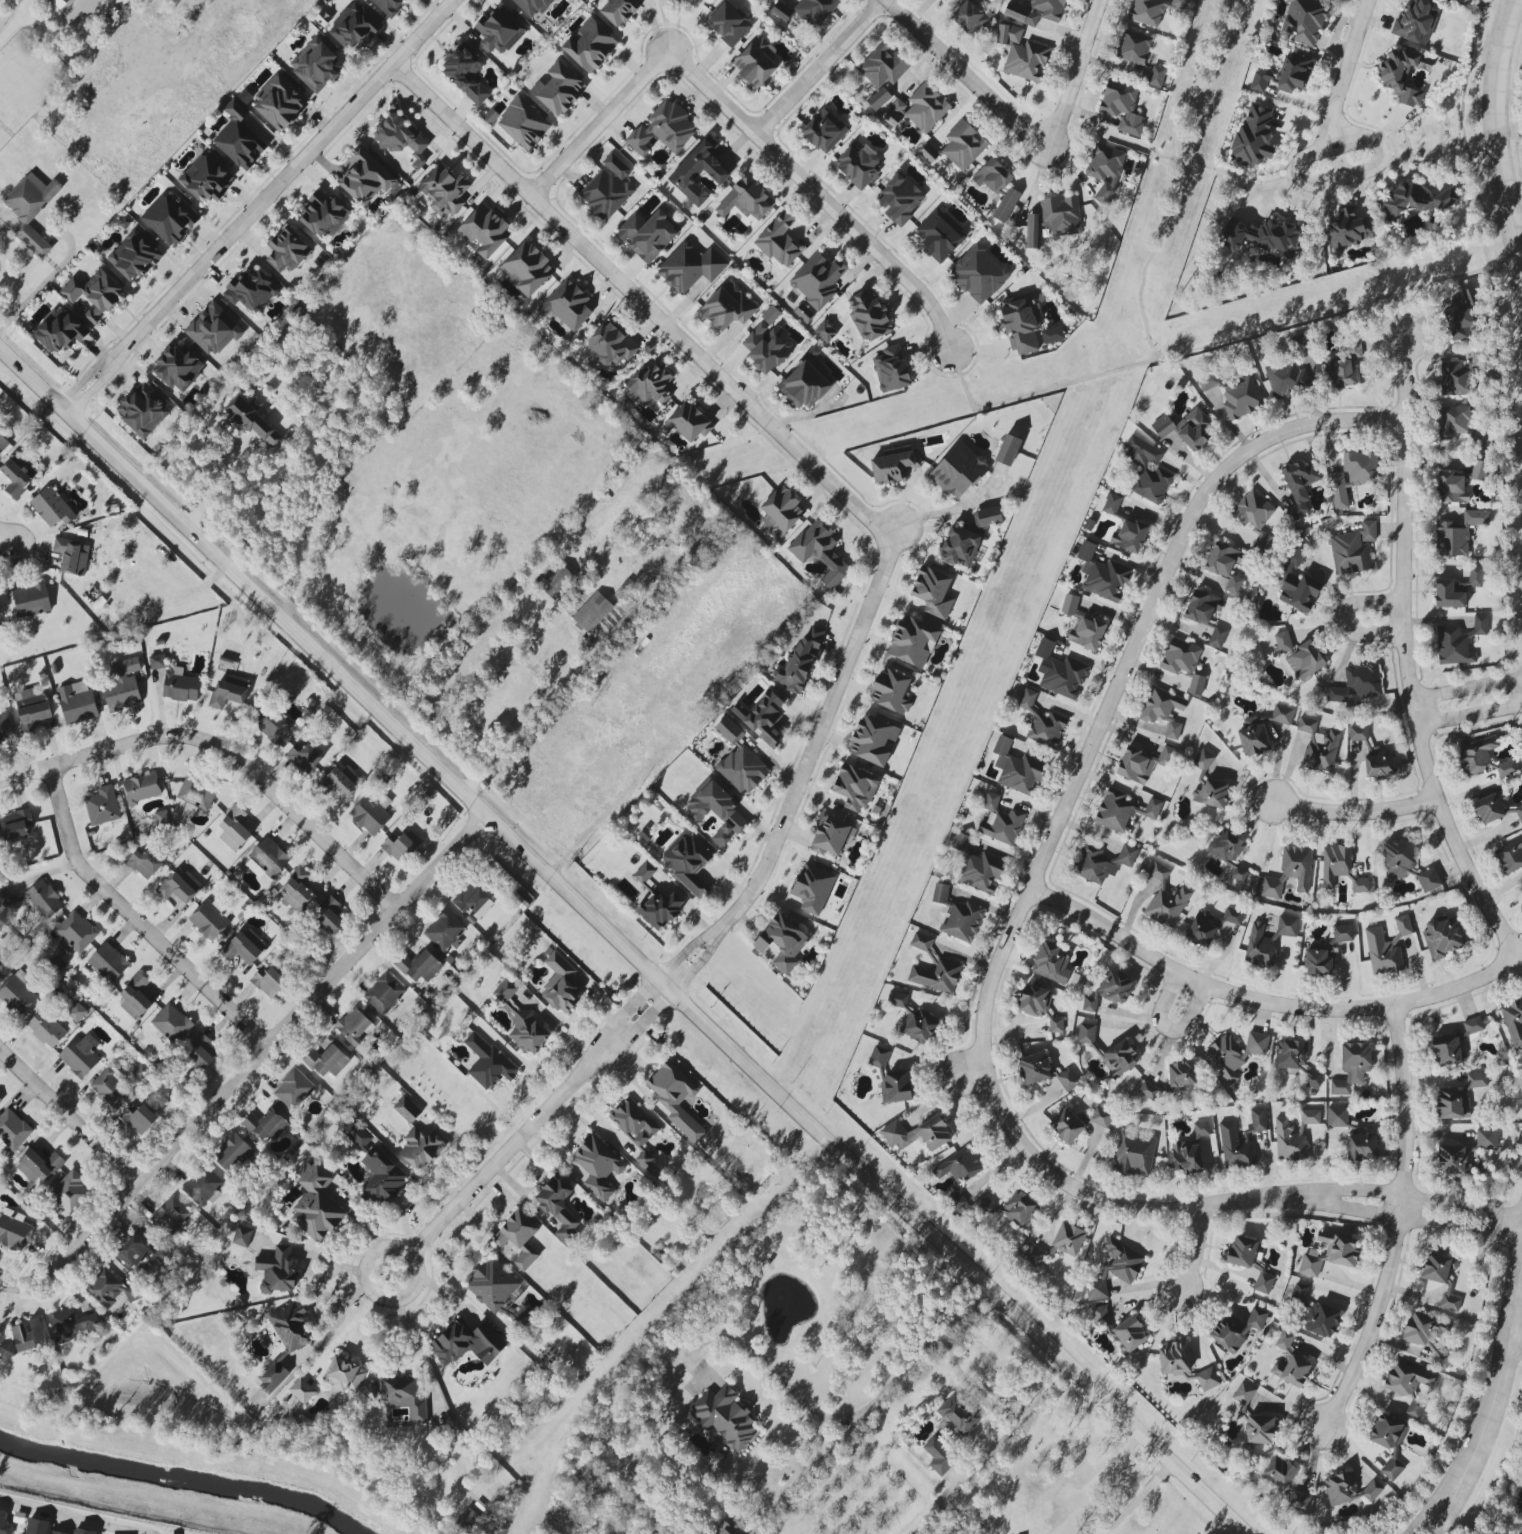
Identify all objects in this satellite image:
building: (692, 0)
building: (17, 1)
building: (59, 5)
building: (389, 6)
building: (532, 6)
building: (815, 10)
building: (618, 11)
building: (780, 11)
building: (1150, 11)
building: (1040, 12)
building: (969, 18)
building: (1416, 21)
building: (1303, 22)
building: (728, 24)
building: (353, 26)
road: (8, 29)
building: (499, 31)
building: (589, 45)
building: (1133, 47)
building: (1021, 54)
building: (755, 62)
building: (316, 65)
building: (882, 66)
road: (819, 69)
building: (465, 71)
road: (967, 72)
road: (1343, 72)
road: (1075, 73)
building: (1283, 74)
building: (1402, 74)
building: (1156, 76)
building: (558, 88)
building: (878, 99)
building: (279, 102)
building: (1121, 106)
building: (918, 109)
road: (1517, 109)
building: (522, 123)
road: (599, 125)
building: (662, 129)
building: (823, 131)
road: (1495, 133)
road: (1460, 134)
building: (1253, 136)
building: (399, 138)
building: (238, 139)
building: (957, 147)
road: (1175, 161)
building: (858, 165)
building: (1104, 170)
building: (698, 172)
road: (1348, 175)
building: (992, 176)
building: (365, 177)
road: (1174, 177)
building: (206, 178)
building: (607, 188)
building: (443, 190)
road: (818, 196)
building: (900, 199)
building: (746, 200)
building: (1415, 201)
road: (255, 203)
building: (1006, 205)
building: (30, 210)
building: (324, 214)
building: (1061, 215)
building: (169, 218)
building: (1347, 228)
building: (485, 230)
building: (1031, 231)
building: (646, 235)
building: (939, 235)
building: (1265, 237)
building: (778, 240)
building: (287, 250)
building: (134, 256)
building: (690, 267)
building: (526, 269)
building: (978, 273)
building: (817, 280)
building: (251, 290)
building: (95, 295)
road: (639, 299)
road: (25, 301)
building: (566, 305)
building: (727, 307)
building: (868, 315)
road: (1398, 317)
building: (1462, 317)
building: (1020, 324)
building: (59, 330)
building: (212, 330)
building: (825, 332)
building: (1052, 335)
road: (1216, 342)
building: (610, 345)
building: (765, 348)
building: (1354, 349)
building: (177, 368)
building: (891, 369)
building: (1340, 373)
building: (1286, 379)
building: (1454, 379)
road: (1403, 382)
building: (803, 385)
building: (1235, 396)
building: (142, 410)
building: (252, 422)
building: (689, 422)
building: (1452, 422)
building: (1185, 428)
building: (3, 444)
building: (1008, 450)
building: (893, 466)
building: (1146, 470)
building: (1478, 470)
building: (958, 471)
building: (1352, 476)
building: (15, 478)
road: (214, 483)
building: (1298, 486)
building: (1451, 488)
building: (1112, 503)
building: (52, 507)
building: (111, 508)
building: (1254, 516)
building: (987, 517)
building: (1456, 534)
building: (1129, 536)
road: (6, 541)
building: (959, 547)
building: (1352, 549)
building: (819, 552)
building: (72, 556)
building: (1224, 565)
building: (1102, 575)
building: (1470, 580)
building: (555, 581)
building: (1296, 583)
road: (1157, 589)
building: (932, 592)
building: (1447, 595)
building: (31, 602)
building: (1201, 607)
building: (592, 612)
road: (1344, 620)
building: (1082, 625)
building: (1217, 637)
building: (912, 642)
building: (1458, 642)
building: (1180, 656)
building: (1299, 656)
building: (800, 660)
building: (1060, 672)
building: (175, 681)
building: (1358, 684)
building: (1196, 685)
building: (122, 686)
road: (1466, 688)
building: (891, 691)
building: (228, 692)
road: (1411, 702)
building: (76, 703)
building: (31, 708)
building: (1163, 710)
building: (1282, 714)
road: (1469, 716)
building: (762, 717)
building: (1041, 722)
building: (5, 726)
building: (274, 726)
building: (1252, 736)
building: (872, 740)
building: (1318, 746)
road: (221, 751)
building: (1476, 754)
building: (1373, 755)
building: (304, 758)
building: (1203, 759)
building: (738, 760)
building: (1142, 763)
building: (1016, 768)
building: (1506, 768)
road: (798, 778)
building: (339, 782)
building: (855, 787)
building: (141, 788)
building: (1211, 794)
building: (990, 802)
building: (102, 806)
building: (1122, 810)
building: (715, 811)
road: (1355, 811)
building: (1519, 813)
building: (369, 815)
building: (161, 817)
building: (17, 824)
building: (1001, 827)
building: (233, 829)
building: (203, 836)
building: (829, 836)
building: (960, 841)
building: (401, 846)
building: (1225, 846)
building: (1509, 856)
building: (266, 858)
building: (1397, 858)
building: (687, 862)
building: (144, 863)
building: (1102, 863)
building: (1334, 864)
building: (1296, 866)
building: (644, 872)
building: (981, 872)
building: (1238, 874)
building: (1428, 880)
building: (1359, 885)
building: (179, 887)
building: (812, 888)
building: (1270, 888)
building: (296, 891)
building: (1165, 898)
building: (42, 900)
building: (473, 901)
building: (660, 909)
building: (330, 915)
building: (958, 916)
building: (1232, 916)
building: (208, 919)
road: (129, 921)
building: (1287, 926)
building: (1201, 929)
building: (443, 930)
building: (75, 932)
building: (1342, 933)
building: (1441, 937)
road: (617, 941)
building: (781, 942)
building: (244, 946)
building: (1258, 946)
building: (1, 959)
building: (1317, 962)
building: (108, 963)
building: (1051, 963)
building: (418, 966)
building: (268, 983)
building: (559, 984)
building: (504, 990)
building: (1109, 990)
building: (18, 993)
building: (383, 993)
building: (135, 997)
building: (896, 999)
road: (1262, 1001)
building: (1039, 1006)
building: (76, 1012)
building: (1513, 1022)
building: (171, 1023)
building: (354, 1026)
building: (918, 1026)
building: (1471, 1026)
road: (1172, 1028)
building: (46, 1029)
building: (527, 1031)
building: (1445, 1050)
building: (202, 1051)
building: (1234, 1054)
building: (79, 1055)
building: (879, 1055)
road: (247, 1061)
building: (326, 1061)
building: (1296, 1061)
building: (487, 1063)
building: (1352, 1067)
building: (1033, 1068)
building: (139, 1072)
building: (1181, 1073)
building: (1067, 1080)
building: (109, 1086)
building: (895, 1087)
building: (293, 1090)
building: (1152, 1093)
building: (675, 1098)
building: (1458, 1098)
building: (0, 1100)
building: (406, 1109)
building: (1100, 1117)
building: (1337, 1117)
road: (67, 1118)
building: (138, 1119)
road: (599, 1121)
building: (633, 1122)
building: (265, 1125)
building: (1066, 1126)
building: (1200, 1129)
building: (12, 1130)
road: (528, 1131)
building: (916, 1134)
building: (359, 1136)
building: (1293, 1136)
building: (1486, 1139)
building: (1240, 1140)
building: (421, 1147)
building: (1361, 1147)
building: (231, 1153)
building: (1133, 1154)
building: (1186, 1157)
building: (1451, 1159)
building: (646, 1163)
road: (1039, 1163)
building: (38, 1165)
building: (597, 1166)
building: (957, 1166)
building: (381, 1177)
building: (202, 1186)
building: (70, 1192)
road: (1424, 1197)
building: (956, 1201)
building: (316, 1204)
building: (558, 1207)
building: (1012, 1209)
building: (170, 1217)
road: (1396, 1222)
road: (1420, 1223)
building: (13, 1230)
building: (242, 1237)
building: (518, 1239)
building: (1068, 1239)
road: (1196, 1251)
building: (1241, 1251)
building: (132, 1252)
building: (1330, 1253)
building: (1032, 1255)
road: (343, 1267)
building: (1114, 1269)
building: (276, 1271)
building: (1441, 1278)
building: (1263, 1283)
building: (491, 1285)
building: (112, 1291)
building: (1298, 1294)
building: (1099, 1316)
road: (354, 1319)
building: (1320, 1320)
building: (71, 1324)
building: (290, 1326)
building: (1236, 1328)
building: (1130, 1334)
building: (1426, 1335)
building: (24, 1338)
road: (1520, 1338)
building: (1284, 1340)
road: (411, 1341)
building: (467, 1343)
building: (1174, 1359)
building: (1291, 1371)
building: (343, 1375)
building: (272, 1377)
building: (1207, 1379)
building: (1409, 1386)
building: (301, 1390)
building: (1242, 1393)
building: (403, 1397)
building: (957, 1415)
road: (825, 1416)
building: (724, 1417)
road: (1016, 1421)
building: (1259, 1429)
road: (1480, 1435)
building: (1388, 1441)
building: (938, 1456)
road: (1075, 1465)
building: (1278, 1472)
building: (1339, 1488)
building: (1371, 1491)
road: (1134, 1501)
building: (1298, 1501)
building: (467, 1517)
road: (64, 1519)
building: (4, 1524)
building: (39, 1527)
building: (84, 1531)
building: (723, 1532)

